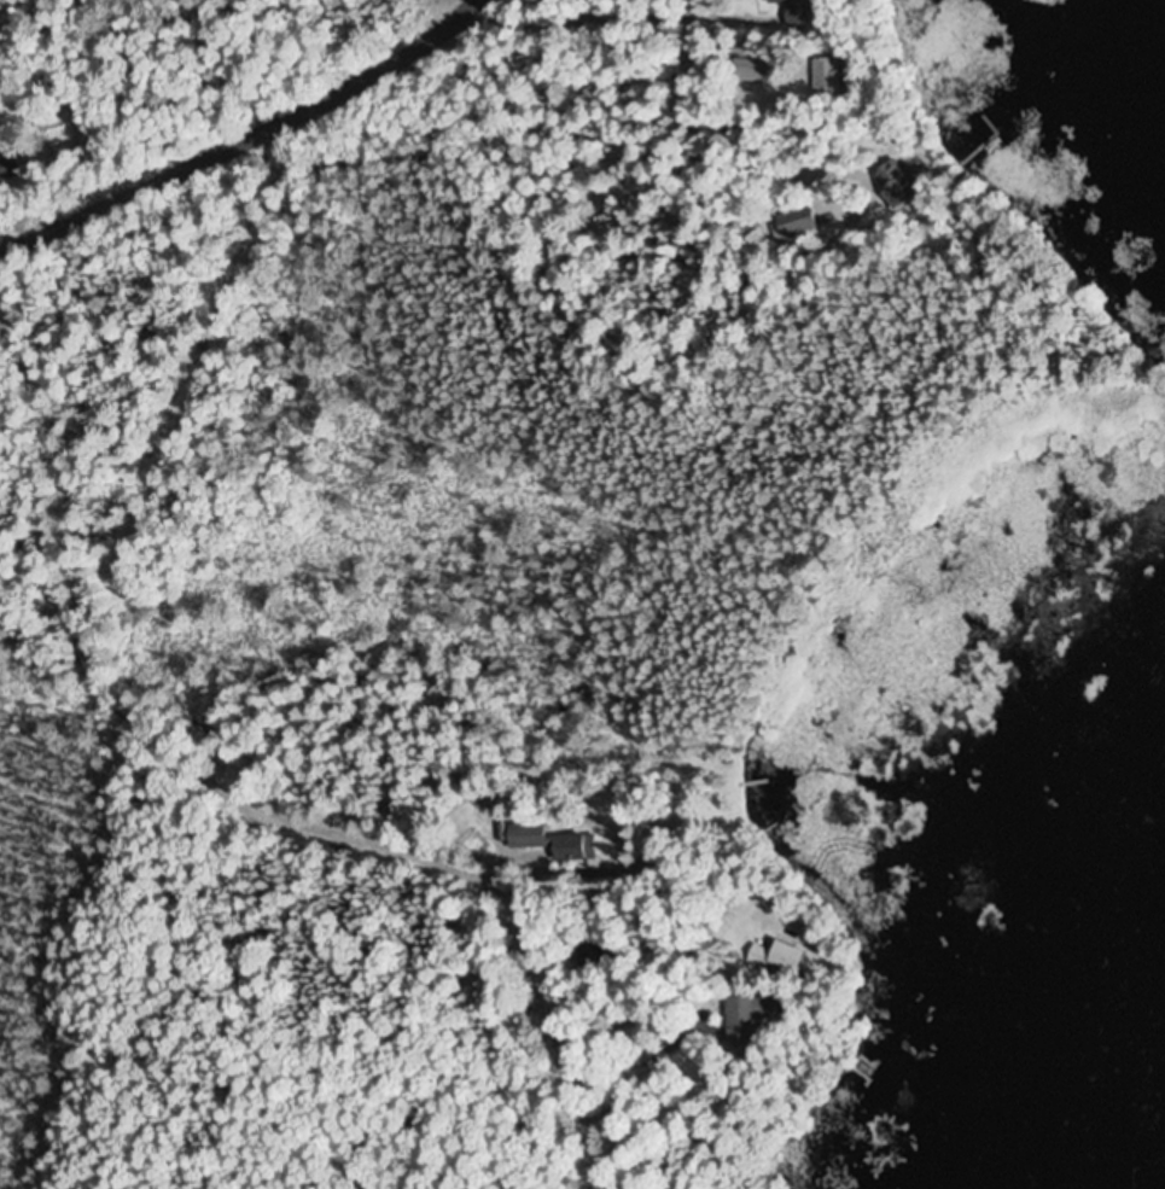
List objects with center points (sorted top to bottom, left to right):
building: (806, 11)
building: (763, 69)
building: (832, 71)
road: (243, 135)
building: (11, 169)
building: (901, 185)
building: (800, 221)
road: (262, 792)
building: (553, 841)
building: (800, 956)
building: (752, 1024)
road: (7, 1165)

